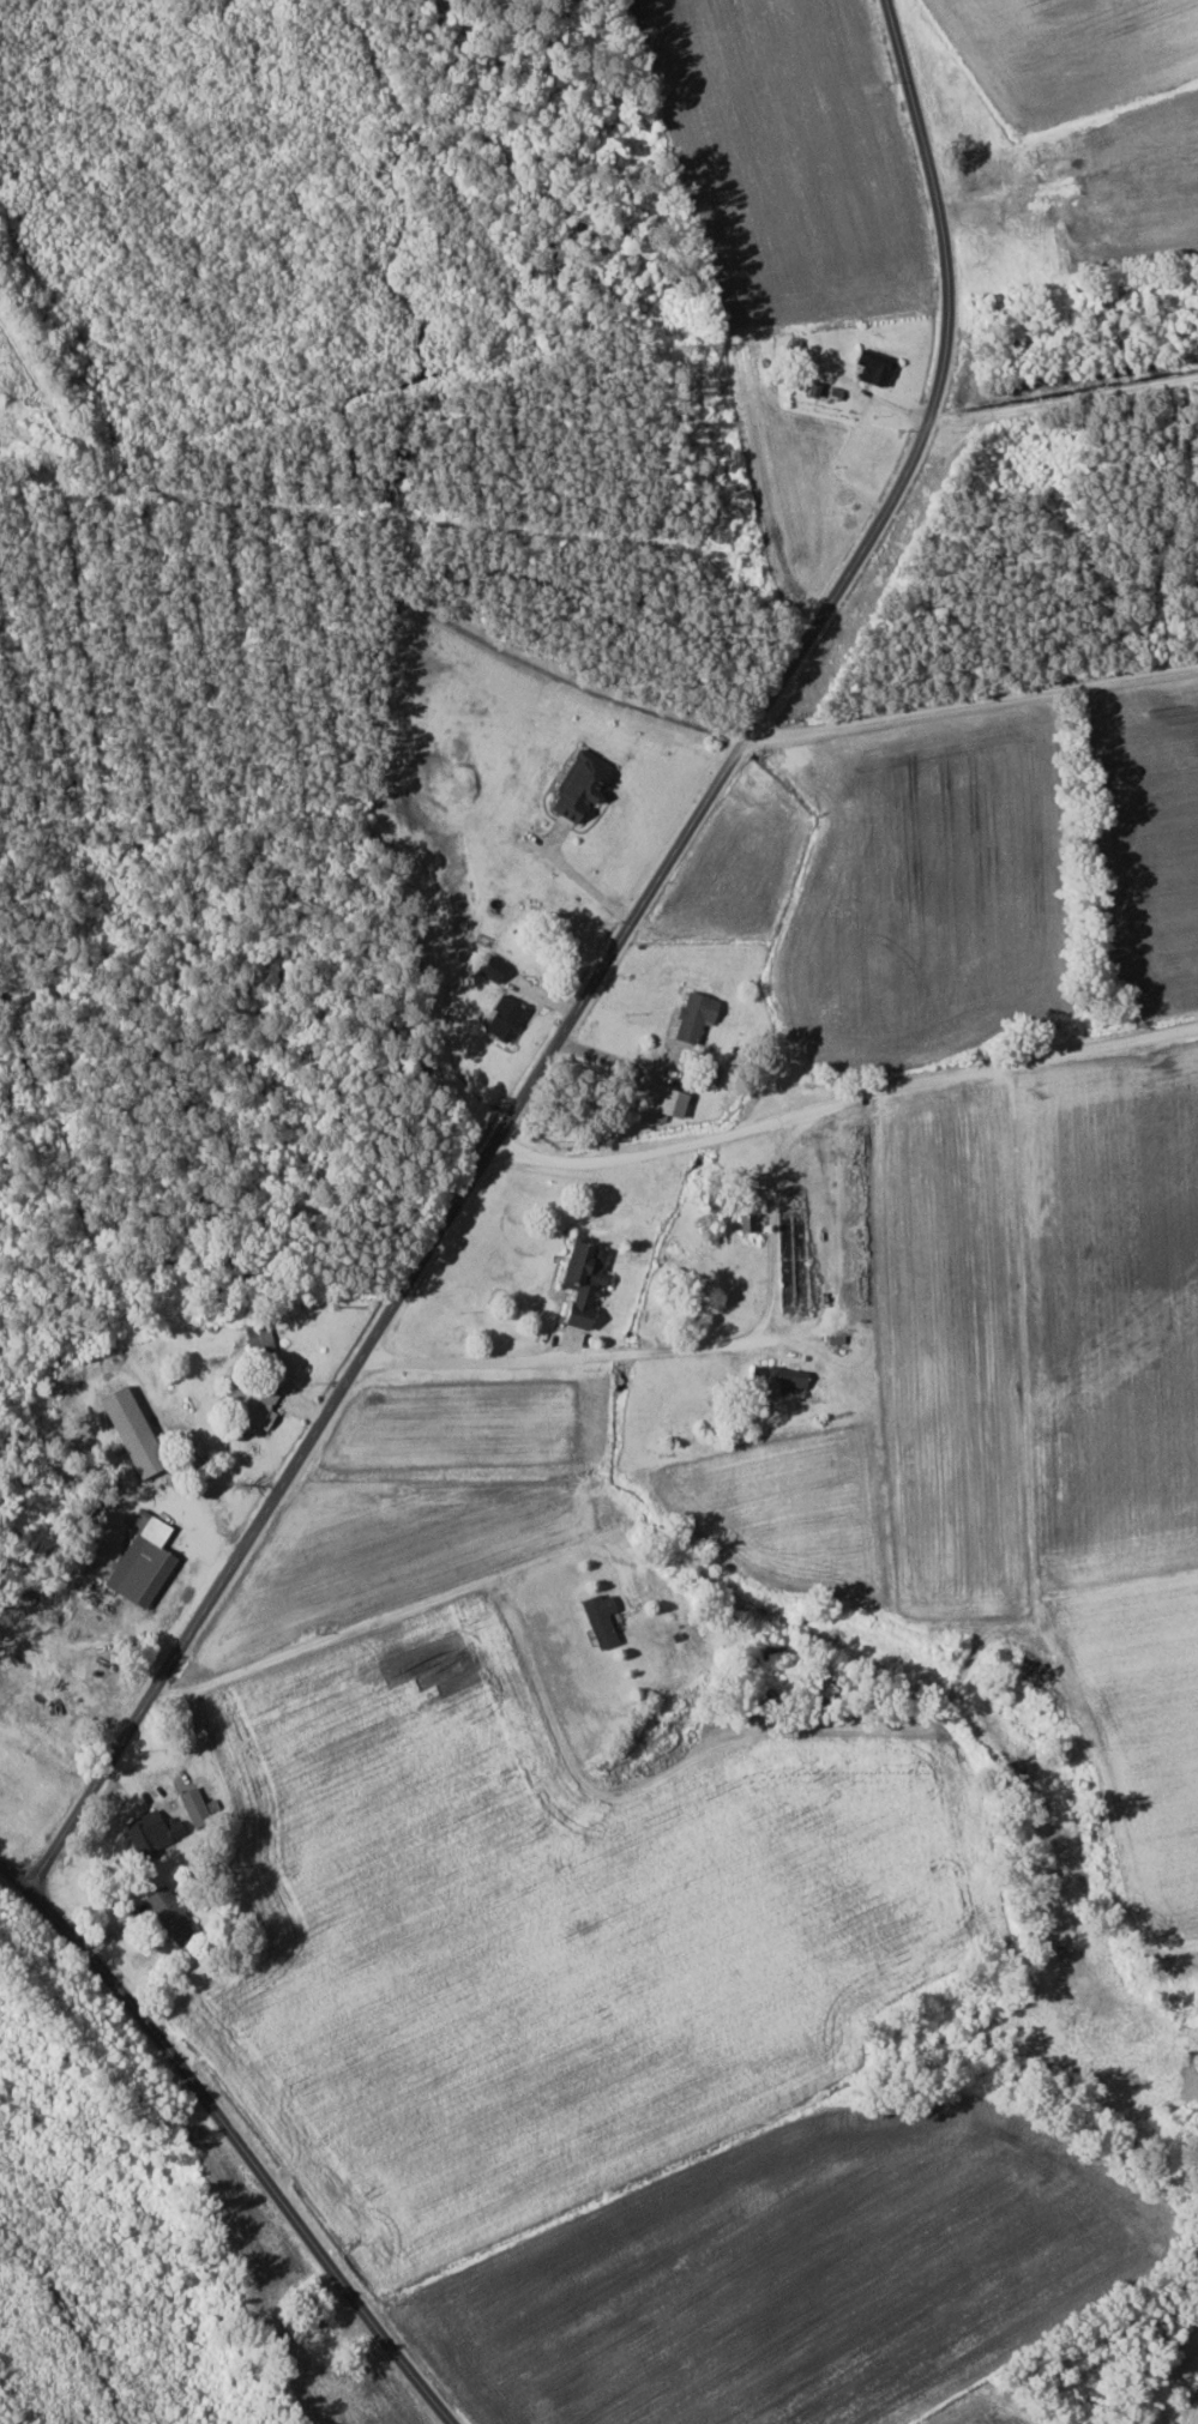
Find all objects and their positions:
building: (871, 366)
road: (1004, 632)
building: (576, 785)
building: (489, 966)
road: (586, 971)
building: (692, 1017)
building: (501, 1018)
building: (660, 1104)
road: (771, 1256)
building: (579, 1282)
building: (259, 1337)
building: (778, 1380)
building: (257, 1406)
building: (128, 1431)
building: (139, 1561)
building: (598, 1618)
road: (368, 1639)
building: (191, 1804)
building: (150, 1831)
building: (161, 1915)
road: (235, 2136)

